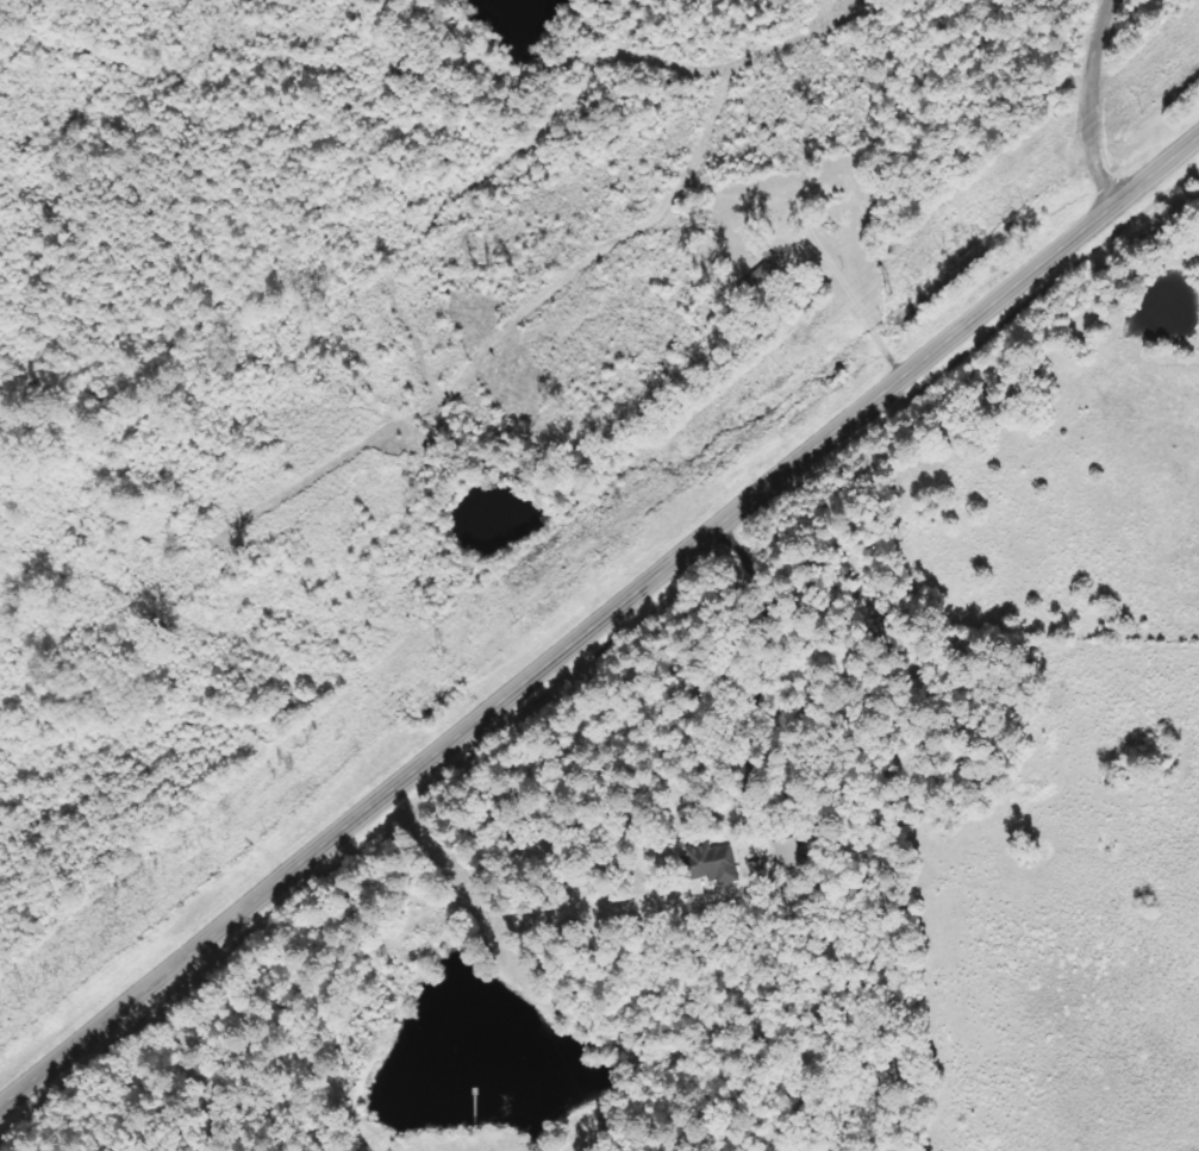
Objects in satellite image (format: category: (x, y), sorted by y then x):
road: (1085, 101)
road: (599, 615)
power tower: (454, 651)
building: (787, 852)
building: (711, 861)

